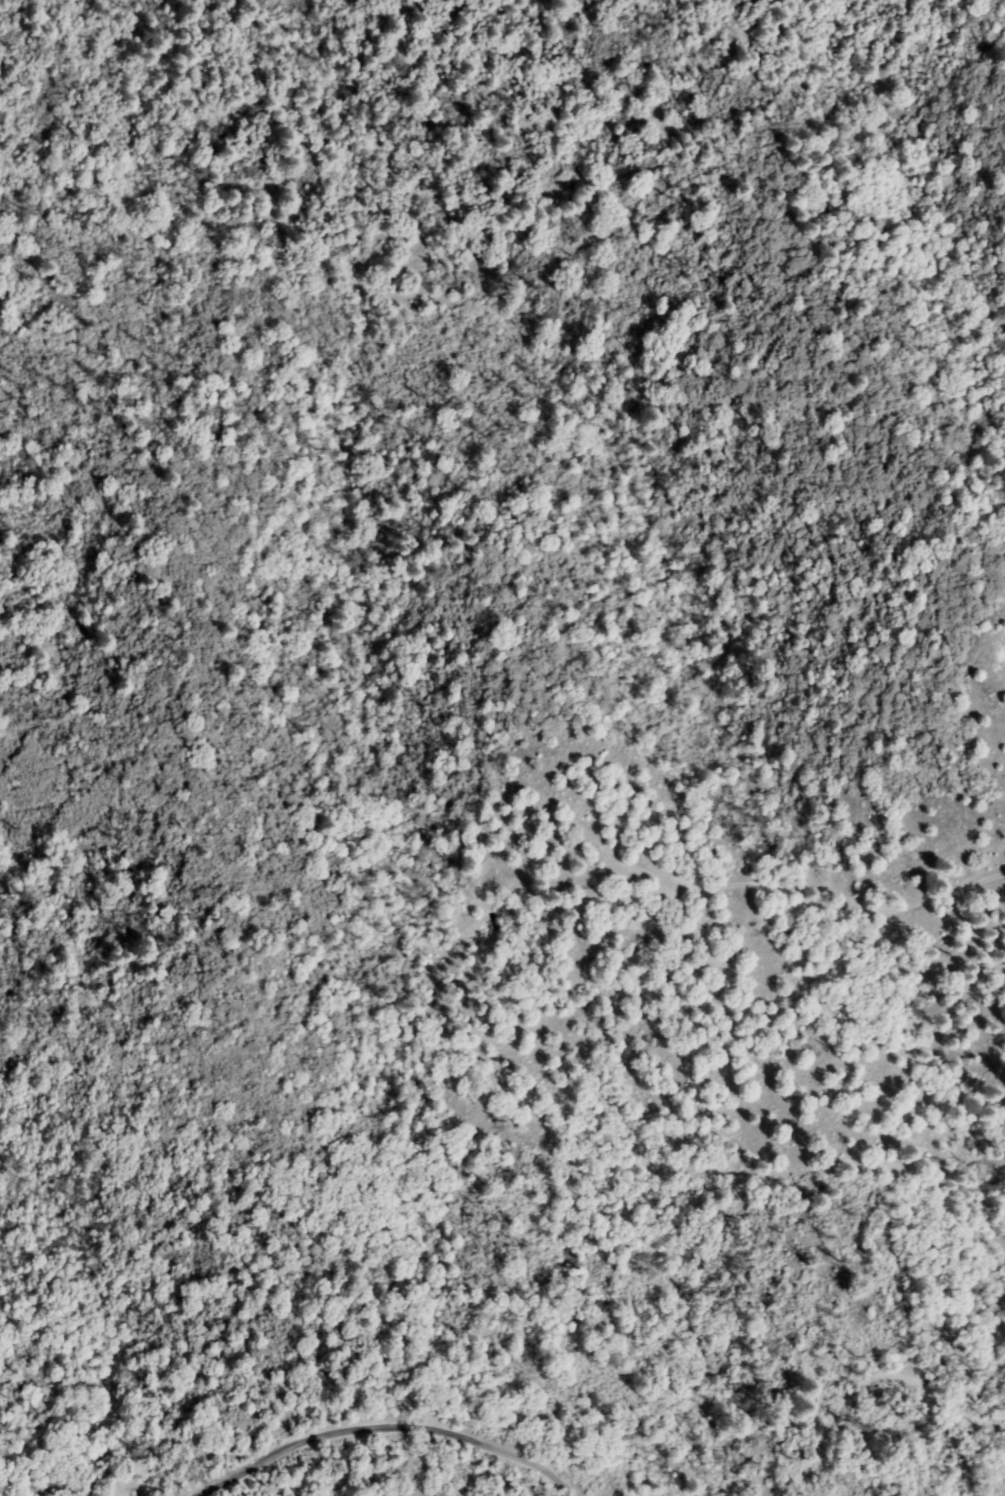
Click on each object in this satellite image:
road: (394, 1430)
road: (994, 1494)

